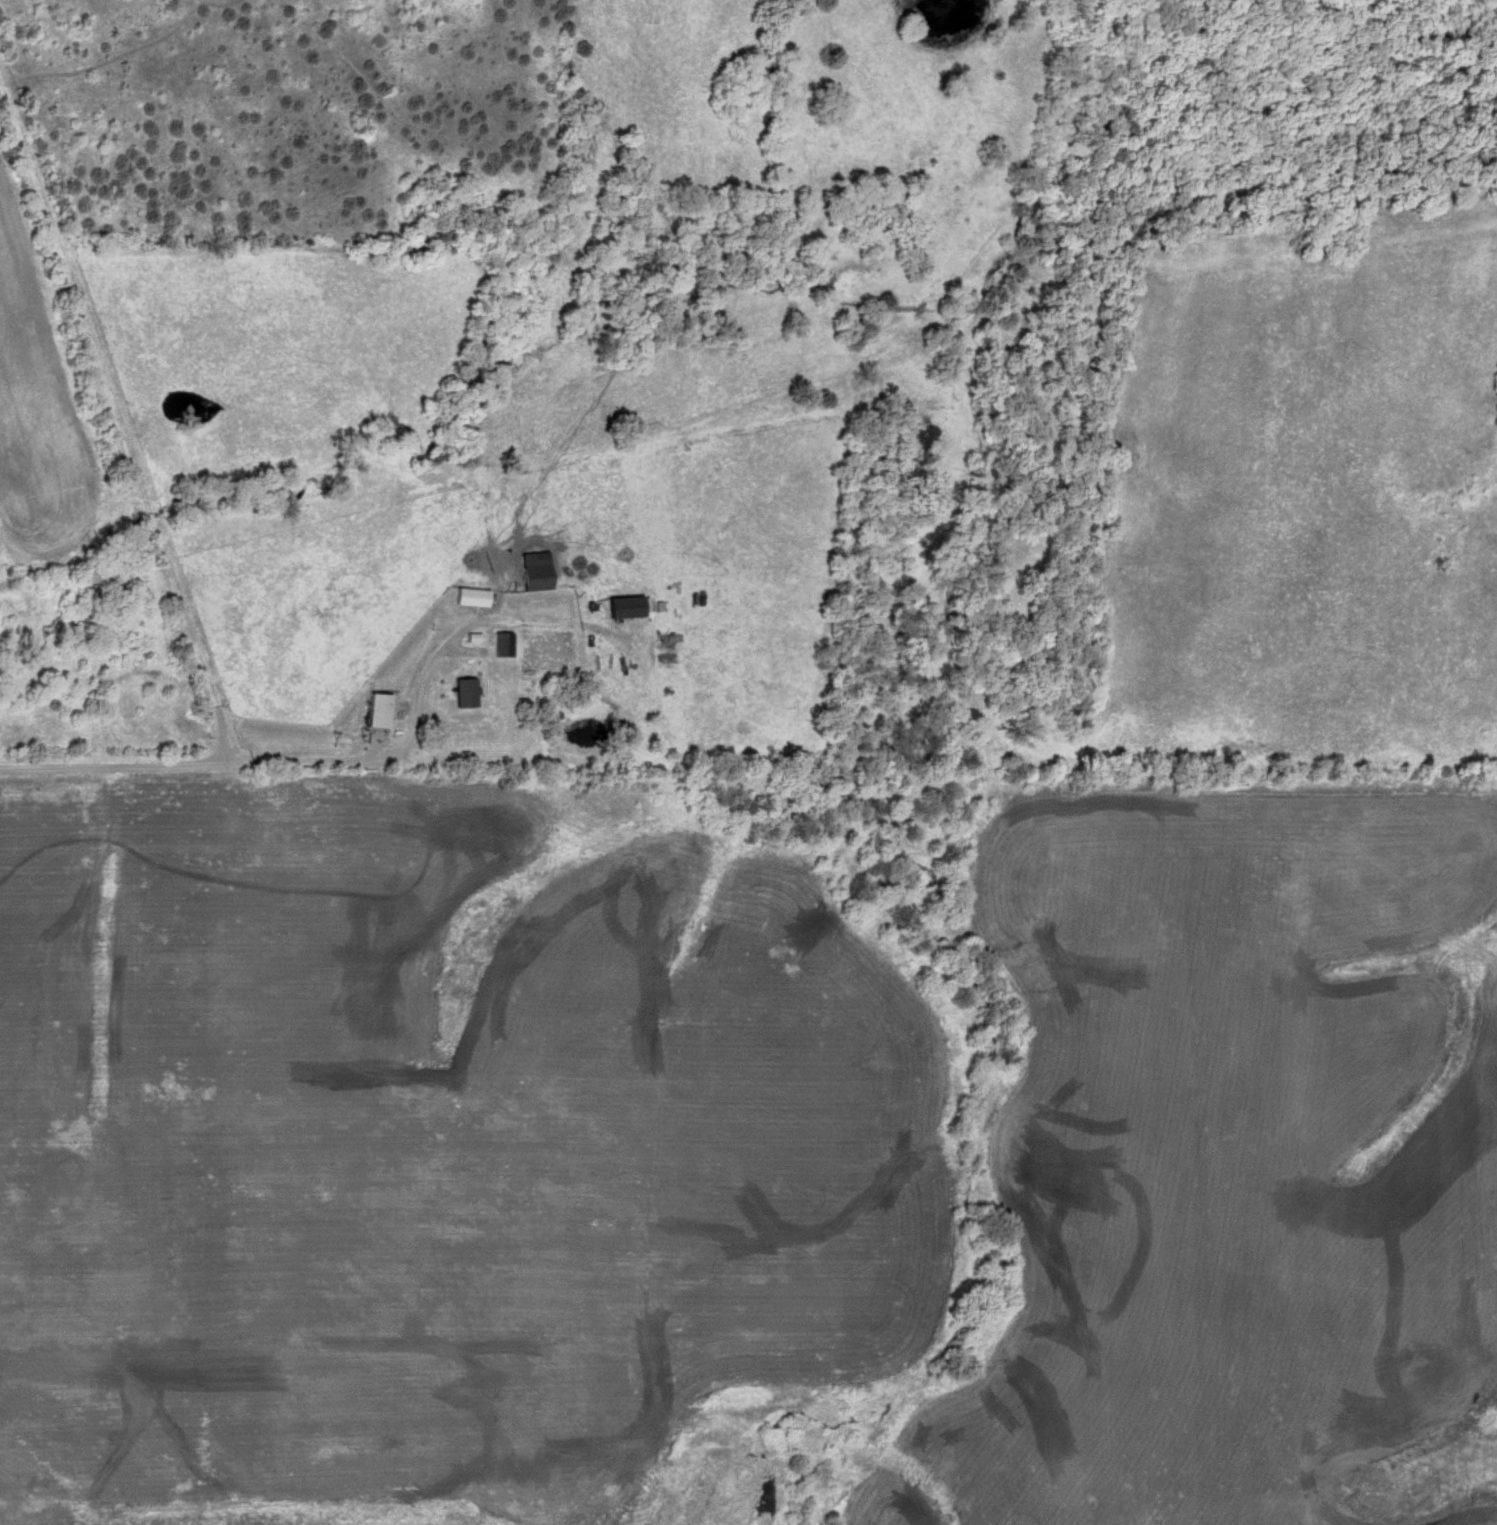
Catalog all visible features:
park: (1052, 294)
road: (117, 419)
building: (536, 572)
building: (473, 598)
building: (626, 607)
building: (503, 644)
building: (466, 692)
building: (380, 710)
road: (232, 763)
park: (1490, 1411)

